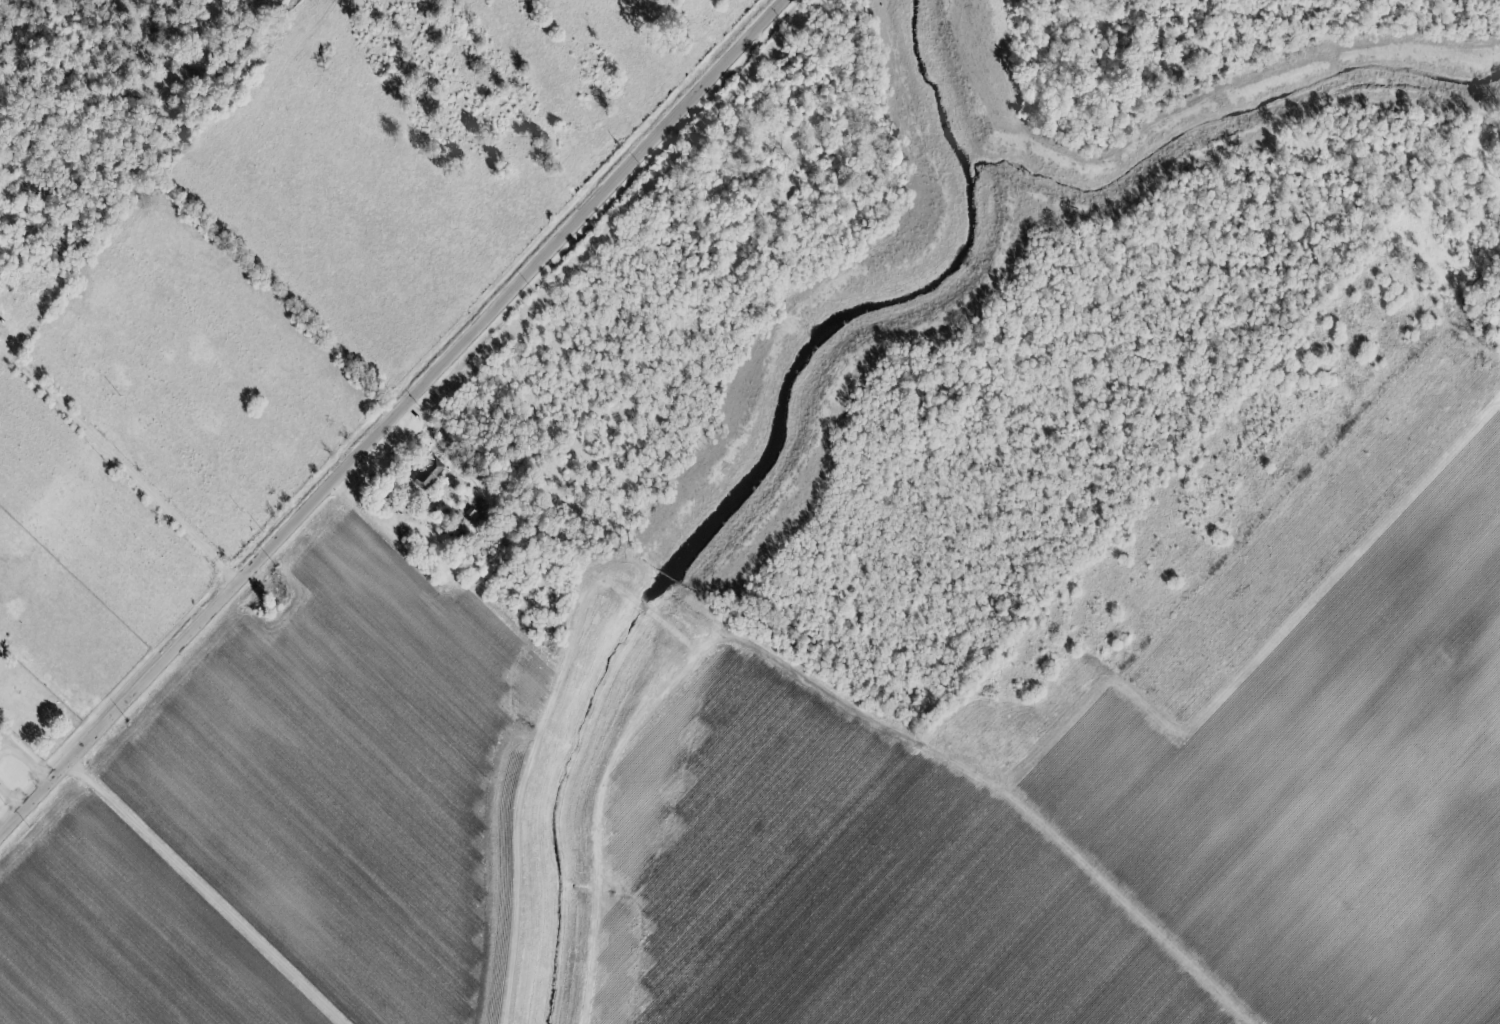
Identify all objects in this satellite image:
road: (393, 419)
road: (121, 465)
building: (425, 474)
road: (29, 761)
road: (13, 798)
road: (215, 892)

